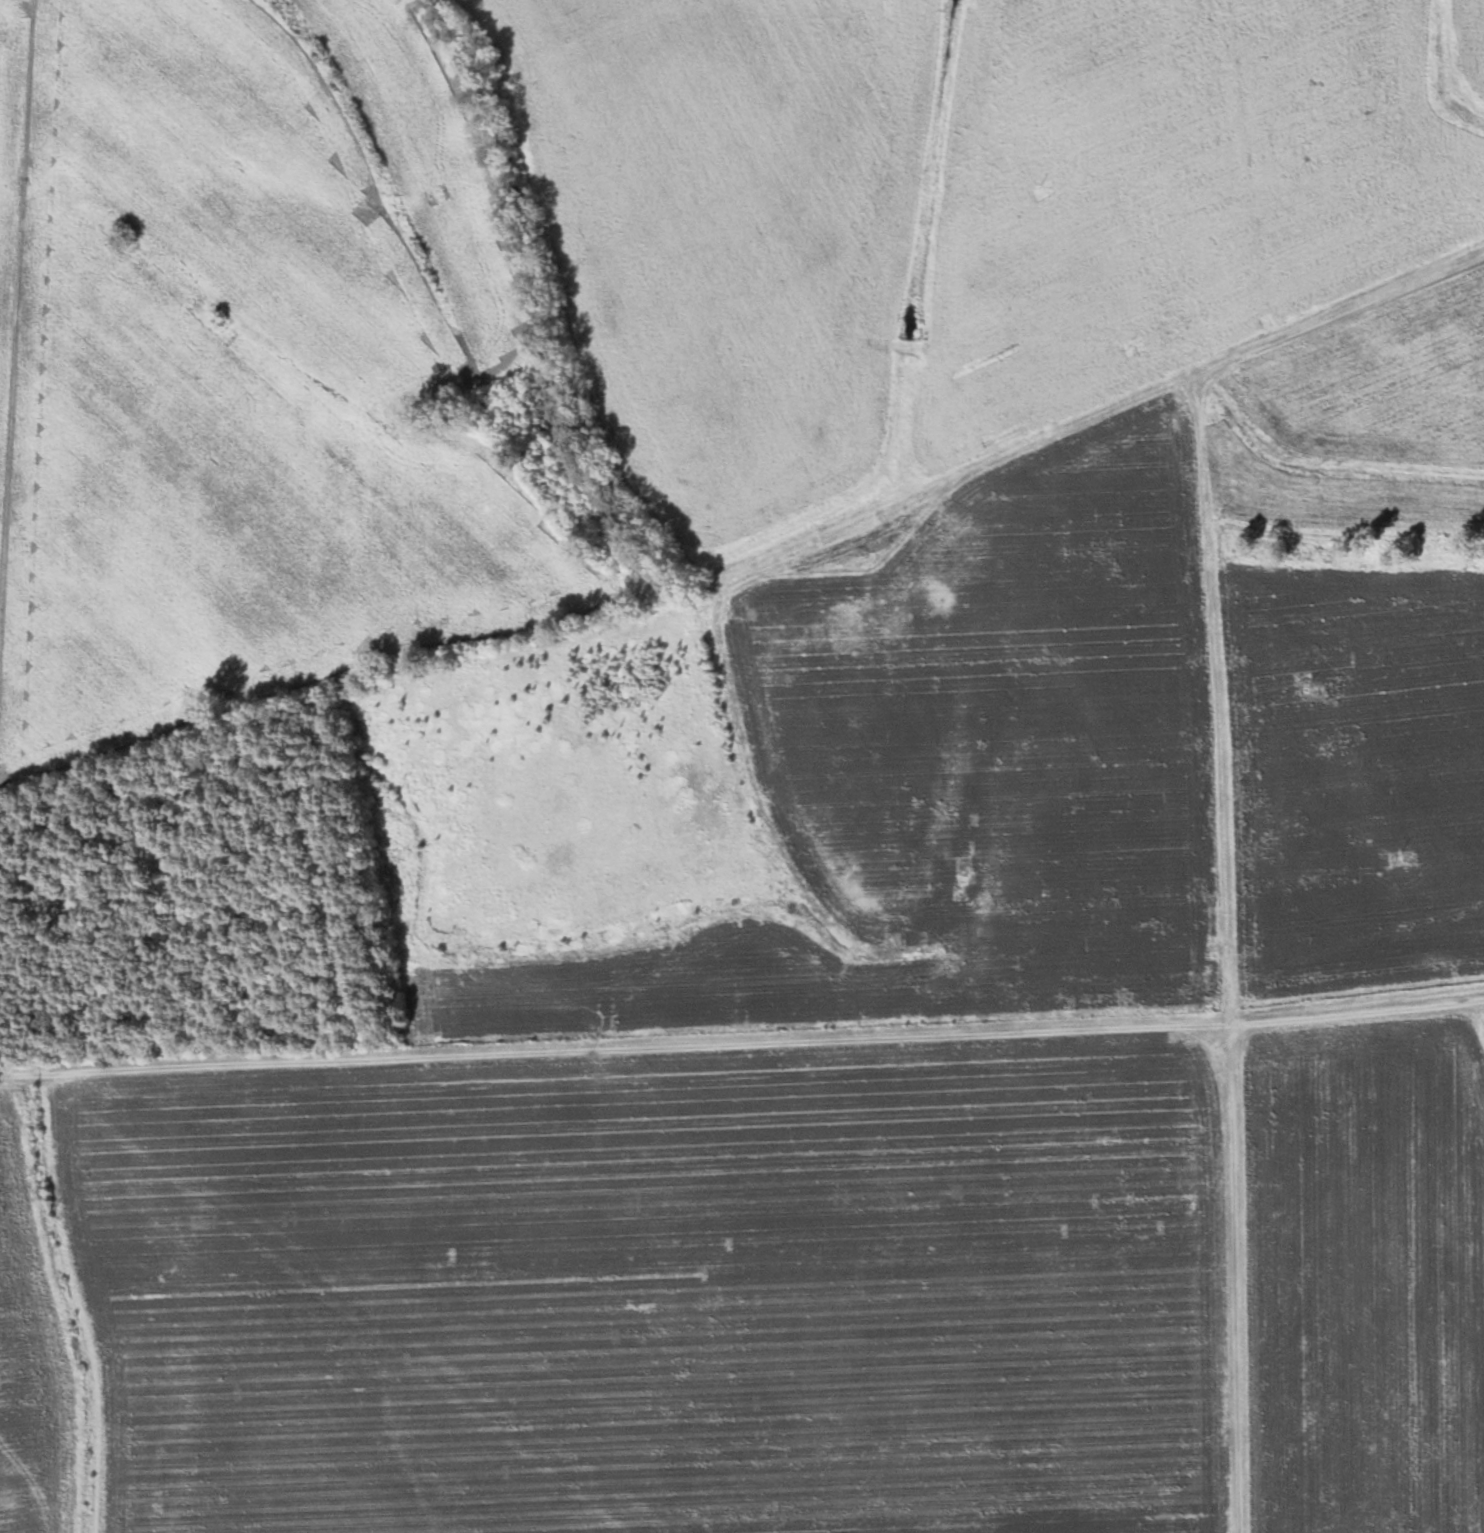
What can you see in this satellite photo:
road: (1356, 1001)
road: (614, 1058)
road: (1232, 1274)

